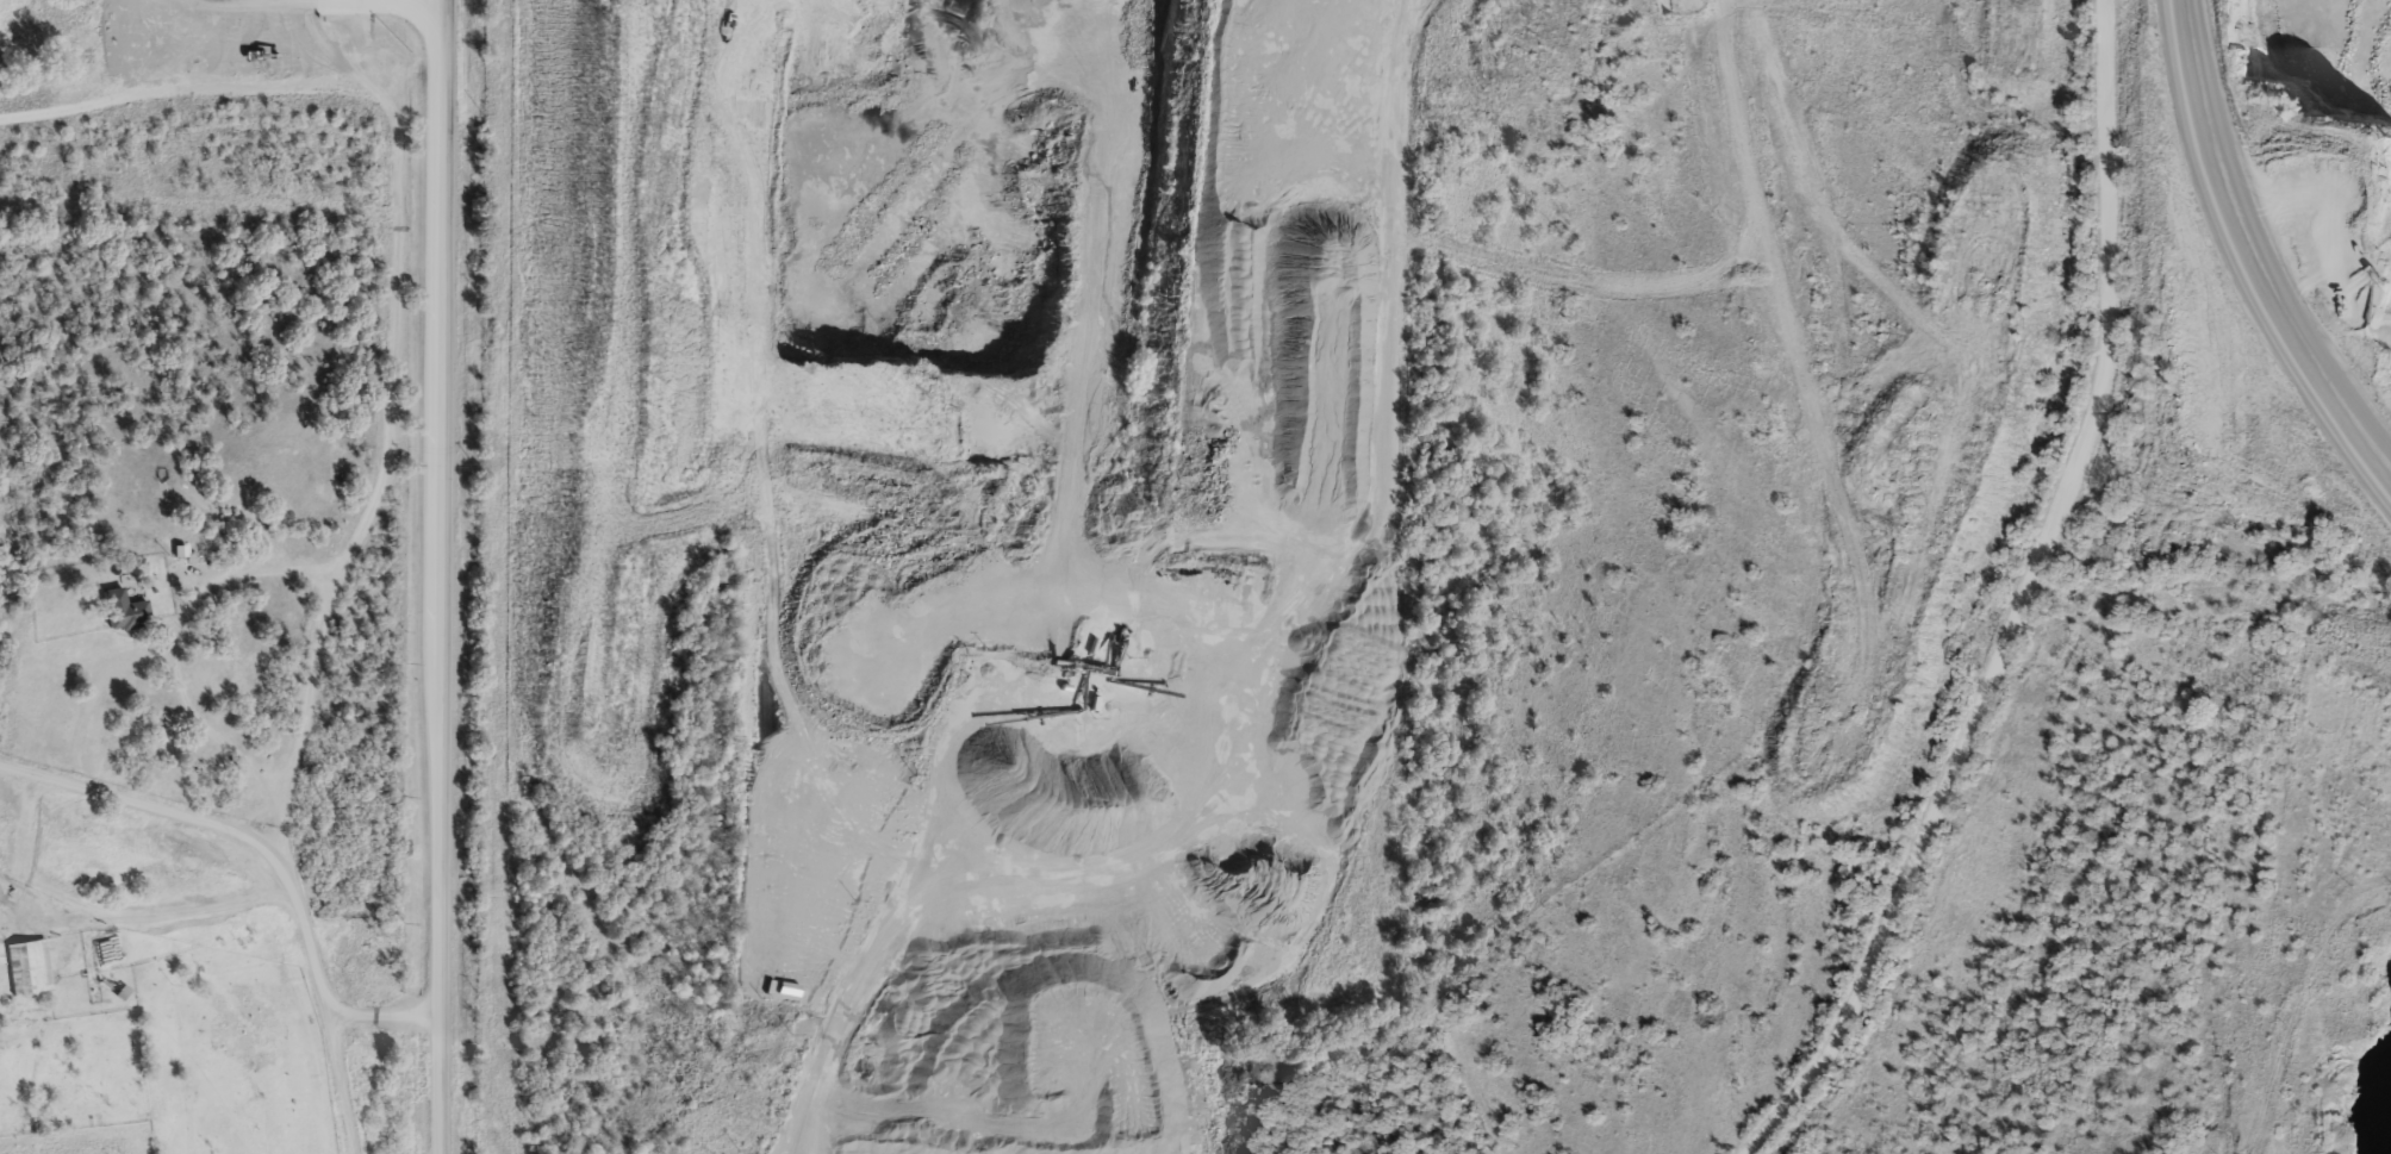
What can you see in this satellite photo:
building: (2324, 233)
road: (2249, 256)
quarry: (2265, 263)
quarry: (853, 339)
road: (443, 576)
road: (332, 580)
road: (2017, 605)
building: (125, 609)
road: (179, 636)
road: (211, 732)
road: (135, 798)
road: (902, 911)
road: (86, 917)
building: (29, 967)
road: (382, 1016)
road: (1458, 1049)

